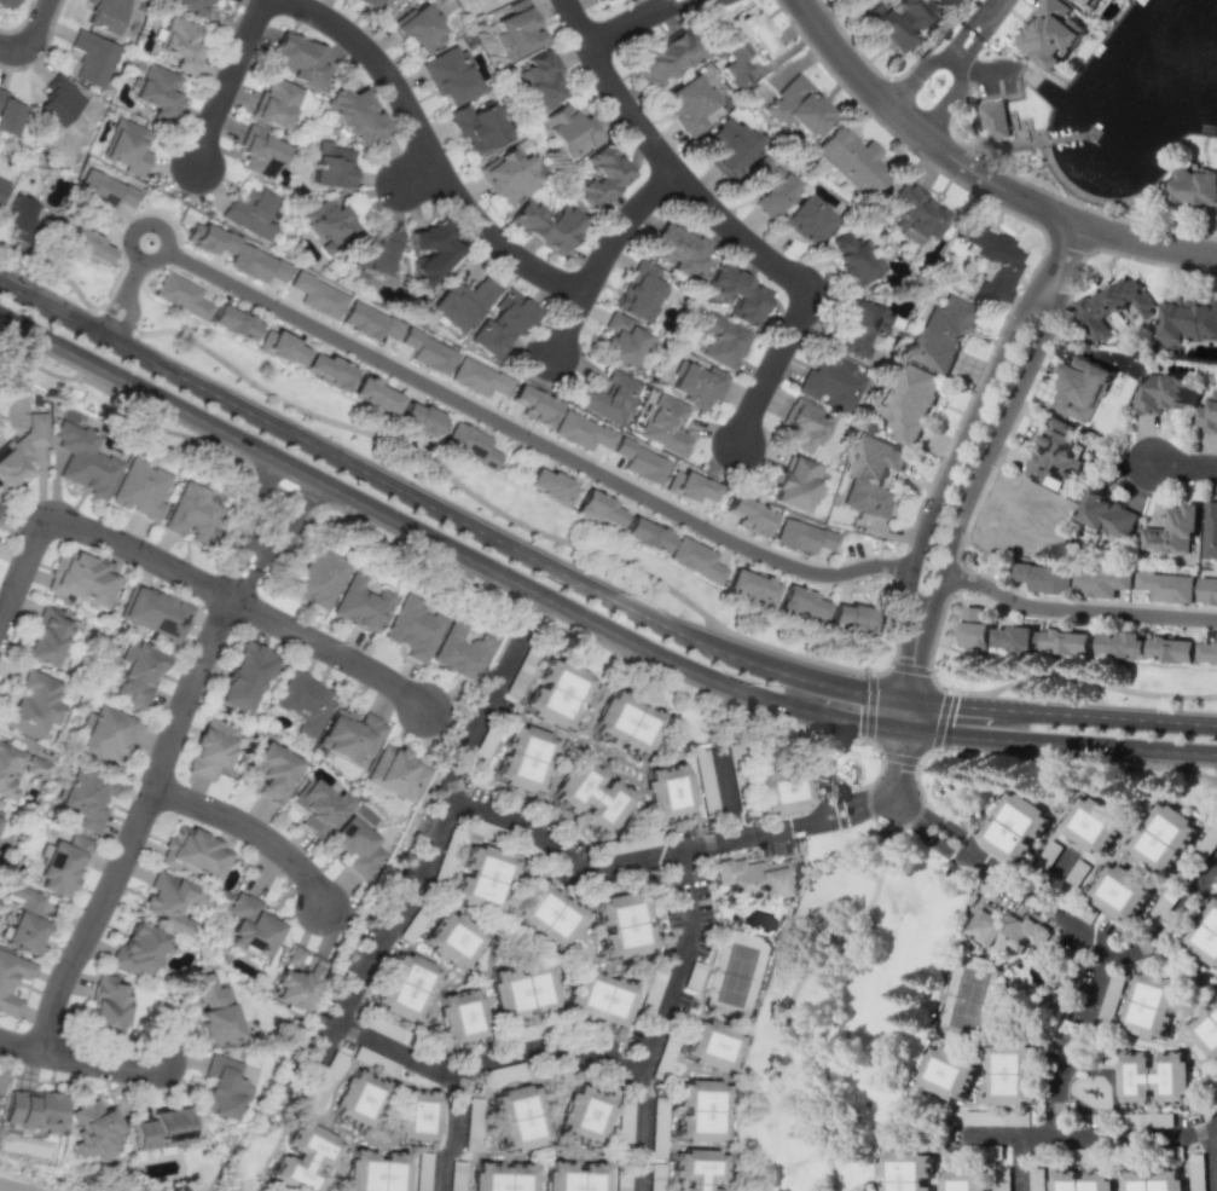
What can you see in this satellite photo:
building: (603, 0)
building: (8, 2)
building: (372, 2)
building: (1084, 4)
building: (190, 6)
building: (104, 15)
road: (639, 24)
road: (33, 28)
building: (419, 28)
building: (520, 29)
building: (1051, 33)
building: (180, 44)
building: (743, 45)
road: (7, 48)
building: (297, 57)
building: (665, 57)
building: (93, 58)
road: (955, 62)
building: (450, 76)
building: (540, 79)
road: (224, 86)
building: (157, 92)
building: (58, 102)
building: (276, 103)
building: (688, 105)
building: (796, 106)
building: (8, 115)
building: (357, 115)
building: (995, 118)
building: (477, 123)
building: (567, 129)
building: (127, 145)
building: (729, 145)
road: (429, 149)
building: (259, 151)
building: (850, 160)
building: (331, 166)
building: (510, 173)
road: (411, 174)
road: (980, 174)
building: (602, 177)
building: (2, 185)
building: (769, 185)
building: (1195, 185)
building: (104, 189)
building: (251, 212)
building: (914, 214)
building: (17, 216)
building: (806, 220)
building: (329, 221)
building: (545, 225)
road: (726, 225)
road: (133, 236)
building: (211, 239)
building: (87, 245)
building: (677, 250)
building: (376, 252)
building: (431, 252)
road: (602, 253)
building: (854, 260)
building: (990, 261)
building: (255, 264)
building: (639, 290)
building: (178, 294)
building: (738, 294)
building: (317, 295)
road: (123, 296)
building: (460, 302)
building: (1112, 306)
building: (369, 320)
building: (1188, 320)
road: (115, 322)
building: (232, 322)
building: (500, 323)
building: (860, 325)
building: (939, 334)
building: (718, 340)
building: (618, 341)
building: (285, 348)
building: (427, 352)
building: (328, 369)
building: (476, 377)
building: (830, 381)
building: (697, 386)
building: (1080, 389)
building: (1161, 393)
building: (373, 394)
building: (608, 397)
building: (910, 401)
building: (533, 404)
building: (1207, 414)
building: (421, 420)
building: (802, 423)
building: (666, 426)
road: (967, 427)
building: (580, 430)
road: (997, 435)
road: (529, 436)
building: (469, 444)
building: (22, 449)
building: (1054, 452)
building: (82, 459)
building: (639, 461)
road: (1186, 466)
building: (871, 475)
building: (0, 482)
building: (795, 484)
building: (550, 485)
building: (692, 487)
building: (138, 490)
building: (0, 507)
building: (597, 507)
road: (497, 510)
building: (192, 513)
building: (748, 515)
building: (1108, 515)
road: (87, 528)
building: (1211, 531)
building: (1172, 532)
building: (645, 534)
building: (801, 536)
building: (694, 559)
building: (1044, 577)
building: (318, 578)
building: (82, 579)
building: (1101, 583)
road: (583, 584)
building: (749, 584)
building: (1166, 585)
building: (1207, 590)
building: (799, 601)
building: (360, 605)
building: (153, 611)
road: (1074, 612)
building: (847, 615)
road: (581, 617)
building: (413, 628)
building: (974, 628)
building: (46, 636)
building: (1014, 637)
building: (1067, 641)
building: (1122, 644)
road: (336, 648)
building: (1172, 648)
building: (460, 651)
building: (1207, 652)
road: (910, 669)
road: (882, 672)
building: (138, 676)
building: (243, 676)
road: (1082, 680)
road: (934, 684)
road: (914, 689)
building: (556, 693)
building: (303, 703)
building: (31, 705)
road: (870, 709)
road: (939, 721)
building: (626, 723)
building: (349, 734)
building: (104, 735)
building: (210, 747)
road: (875, 748)
road: (925, 756)
building: (525, 758)
road: (899, 758)
road: (168, 759)
road: (899, 764)
building: (272, 770)
building: (399, 773)
road: (871, 780)
building: (667, 792)
road: (725, 792)
building: (782, 792)
building: (590, 796)
building: (83, 797)
building: (319, 806)
building: (0, 813)
road: (824, 816)
building: (1093, 825)
building: (1014, 827)
road: (256, 829)
building: (1163, 838)
road: (891, 840)
building: (355, 846)
building: (195, 854)
road: (427, 854)
building: (60, 865)
road: (596, 868)
road: (1053, 875)
building: (752, 877)
building: (483, 878)
building: (1120, 892)
building: (170, 902)
building: (549, 915)
building: (27, 919)
road: (1062, 920)
building: (624, 924)
building: (251, 925)
building: (1004, 929)
building: (1205, 933)
building: (453, 939)
building: (138, 950)
building: (294, 955)
road: (801, 969)
park: (737, 972)
building: (11, 979)
building: (296, 985)
building: (407, 987)
building: (523, 989)
building: (601, 998)
park: (967, 998)
building: (1151, 1004)
building: (108, 1006)
park: (842, 1007)
building: (214, 1010)
building: (463, 1017)
road: (660, 1019)
building: (1206, 1030)
road: (1076, 1042)
building: (712, 1046)
road: (81, 1059)
road: (483, 1062)
building: (947, 1071)
building: (1010, 1075)
building: (1153, 1079)
building: (226, 1082)
building: (360, 1100)
building: (34, 1110)
building: (701, 1111)
building: (587, 1115)
building: (419, 1117)
building: (521, 1117)
building: (94, 1128)
building: (163, 1129)
road: (456, 1135)
road: (1090, 1135)
building: (306, 1158)
road: (1018, 1162)
road: (1212, 1162)
building: (699, 1168)
building: (906, 1170)
building: (377, 1172)
building: (504, 1176)
building: (576, 1176)
building: (1001, 1179)
building: (964, 1180)
building: (1082, 1180)
building: (1151, 1180)

